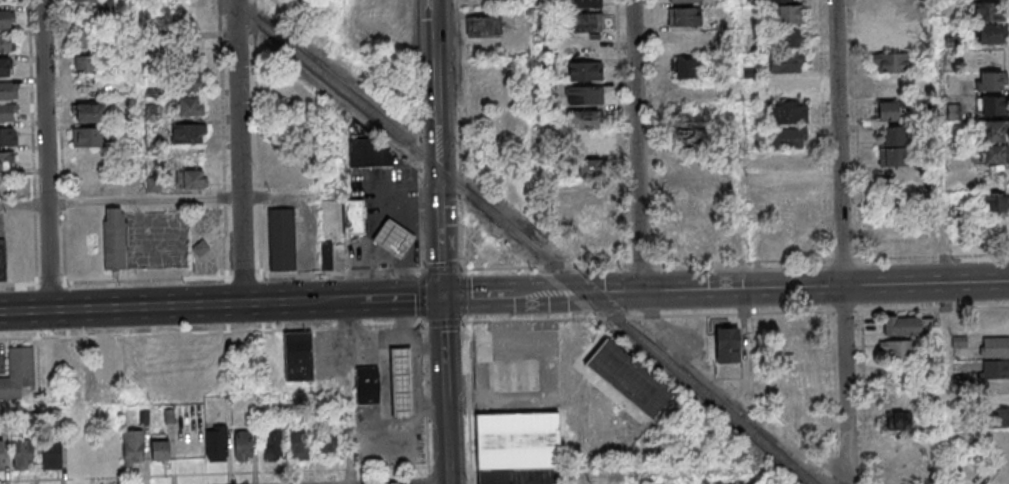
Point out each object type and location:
building: (685, 1)
building: (770, 1)
building: (99, 3)
building: (583, 3)
building: (991, 12)
building: (888, 13)
building: (786, 15)
building: (684, 16)
building: (6, 19)
building: (584, 22)
building: (484, 25)
building: (988, 35)
building: (791, 38)
building: (886, 39)
building: (85, 40)
building: (7, 43)
building: (990, 58)
building: (787, 63)
building: (889, 63)
building: (85, 64)
building: (5, 67)
building: (684, 68)
building: (585, 71)
building: (486, 75)
building: (186, 82)
building: (989, 83)
road: (436, 84)
building: (89, 88)
building: (788, 88)
building: (8, 91)
building: (584, 95)
building: (190, 106)
building: (990, 106)
building: (888, 111)
building: (90, 112)
building: (7, 113)
building: (695, 113)
building: (788, 113)
building: (583, 119)
building: (187, 133)
building: (8, 136)
building: (88, 137)
building: (691, 138)
building: (789, 138)
building: (993, 142)
building: (585, 144)
road: (636, 145)
building: (892, 146)
road: (238, 152)
building: (366, 153)
road: (46, 155)
building: (84, 161)
building: (7, 162)
building: (791, 164)
building: (589, 168)
building: (189, 179)
building: (788, 187)
building: (914, 188)
building: (689, 201)
road: (120, 203)
building: (993, 203)
building: (788, 208)
building: (354, 217)
building: (593, 227)
building: (902, 230)
road: (440, 232)
road: (839, 233)
building: (114, 238)
building: (394, 238)
building: (282, 240)
railway: (524, 240)
building: (689, 240)
building: (200, 248)
building: (326, 257)
building: (3, 261)
road: (330, 275)
road: (761, 287)
road: (478, 296)
traffic signals: (442, 297)
road: (401, 298)
road: (180, 305)
building: (901, 326)
building: (796, 330)
road: (212, 332)
road: (384, 341)
road: (442, 344)
building: (727, 344)
building: (994, 348)
building: (896, 350)
building: (797, 353)
building: (298, 356)
building: (995, 370)
building: (18, 373)
building: (513, 376)
road: (418, 378)
building: (632, 381)
building: (401, 382)
building: (367, 385)
road: (577, 388)
road: (347, 392)
road: (426, 396)
building: (997, 417)
building: (898, 421)
road: (446, 437)
building: (518, 441)
building: (326, 442)
building: (216, 443)
building: (299, 444)
building: (134, 445)
building: (242, 445)
building: (272, 445)
building: (160, 451)
building: (1, 453)
building: (23, 454)
building: (50, 455)
road: (222, 474)
building: (518, 476)

